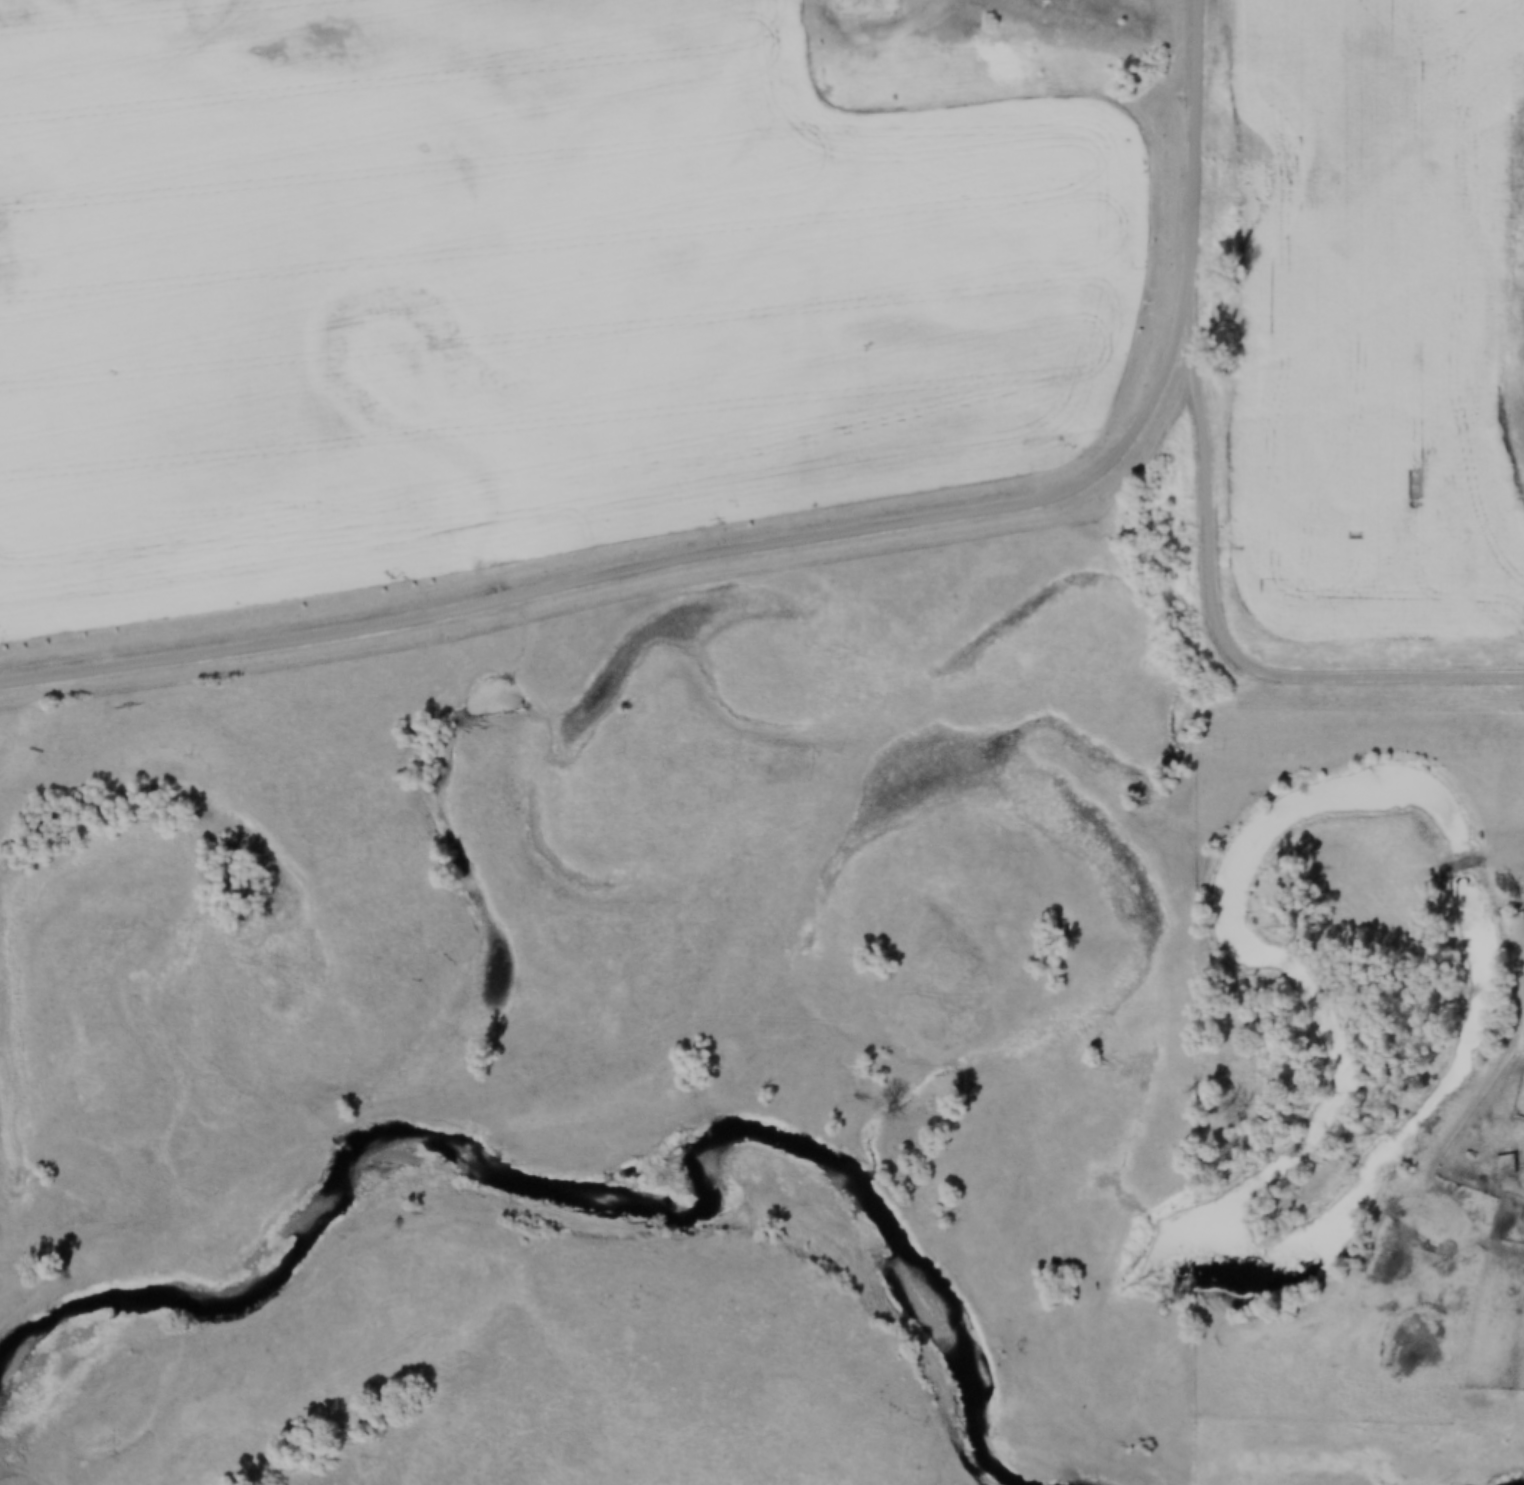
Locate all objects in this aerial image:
road: (1204, 158)
quarry: (1514, 299)
road: (1209, 497)
road: (645, 574)
road: (1384, 676)

